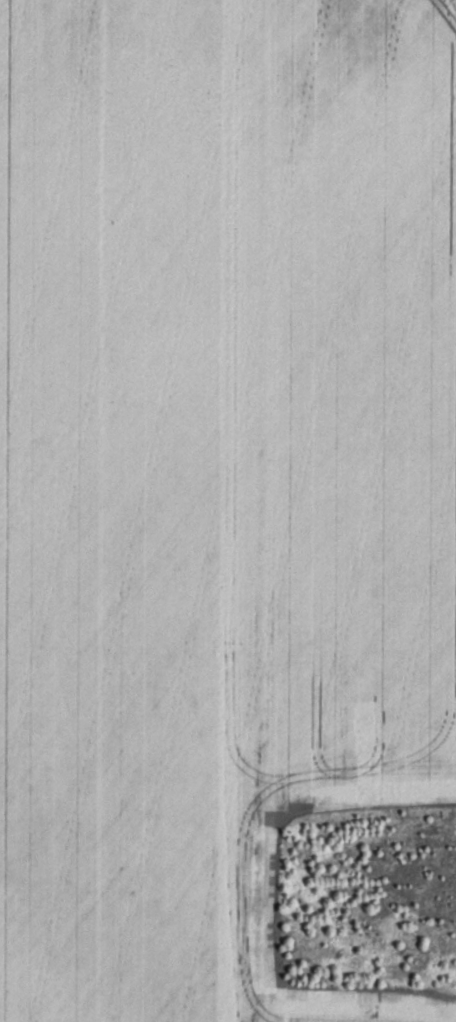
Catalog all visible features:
road: (130, 172)
road: (132, 419)
road: (260, 512)

